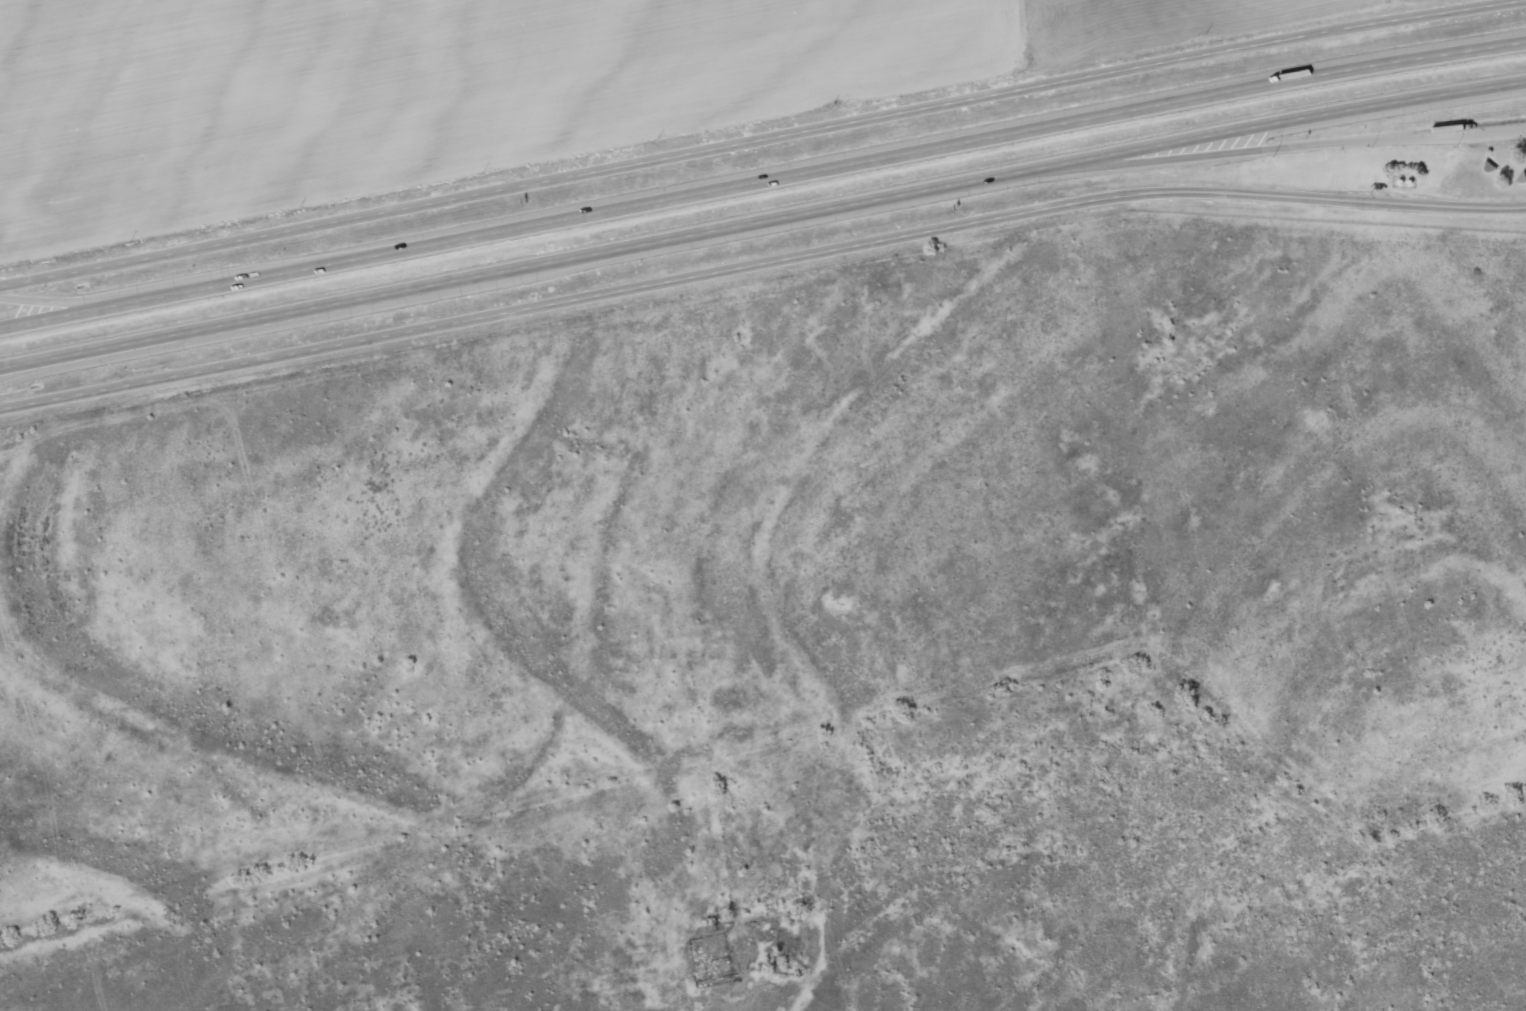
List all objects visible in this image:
road: (1458, 131)
road: (763, 149)
road: (1109, 164)
road: (762, 179)
road: (762, 219)
road: (759, 260)
road: (192, 278)
road: (89, 359)

